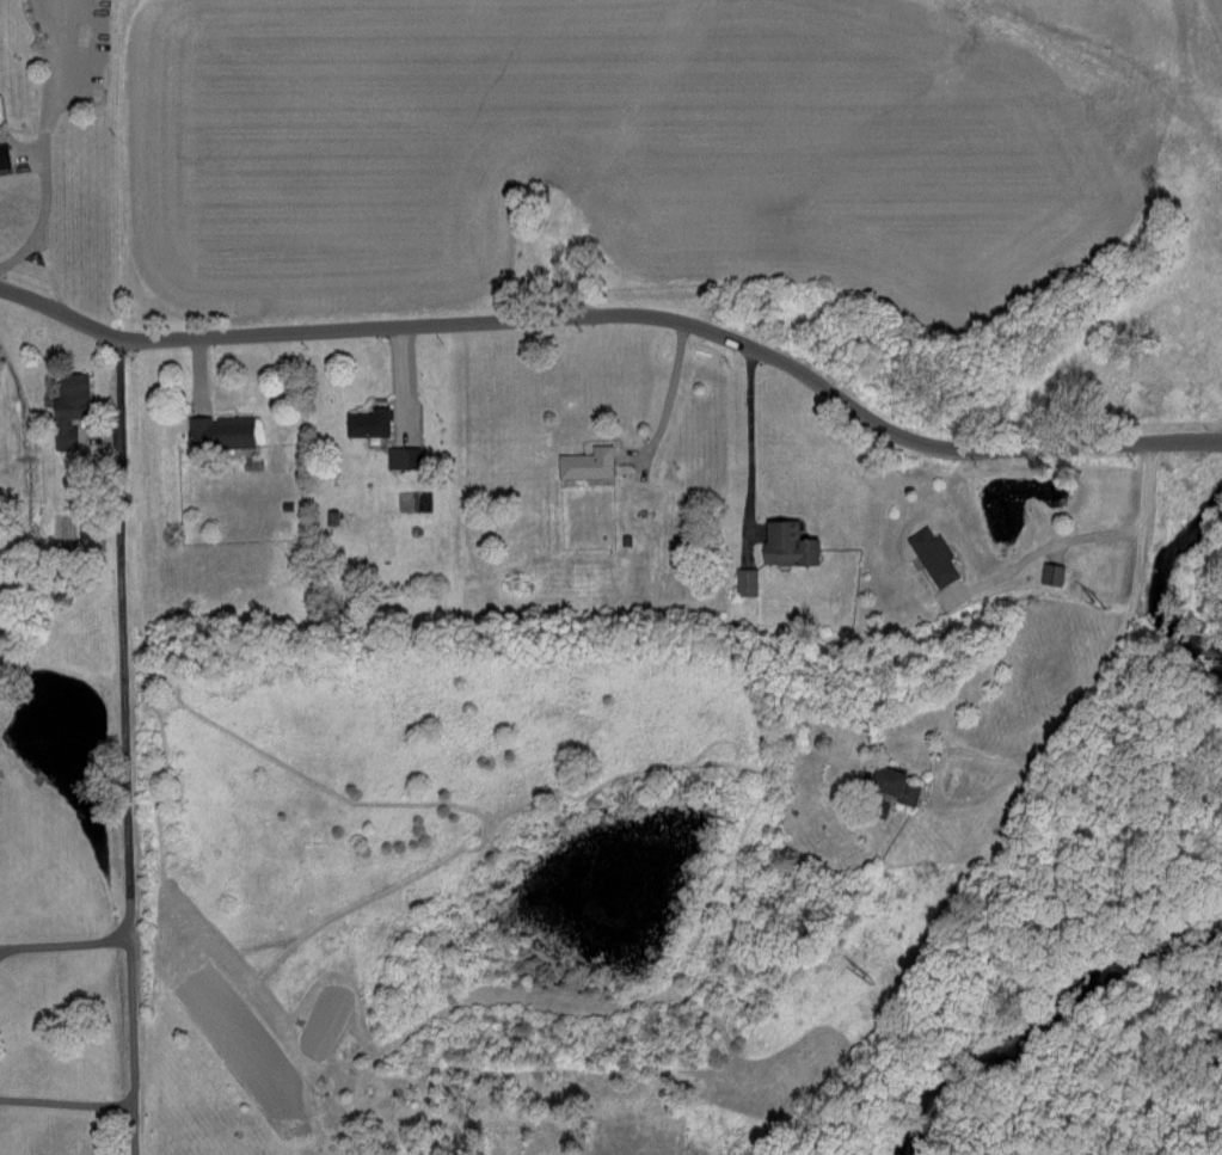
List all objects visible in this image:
road: (38, 155)
building: (5, 156)
road: (620, 312)
road: (198, 371)
building: (74, 397)
road: (671, 400)
building: (369, 422)
road: (303, 424)
building: (222, 430)
road: (748, 444)
building: (403, 456)
building: (588, 463)
building: (87, 530)
road: (1056, 542)
building: (793, 545)
building: (934, 555)
building: (1054, 573)
building: (749, 580)
power tower: (1109, 597)
road: (1105, 664)
road: (124, 745)
building: (899, 785)
road: (61, 939)
power tower: (871, 975)
road: (66, 1095)

